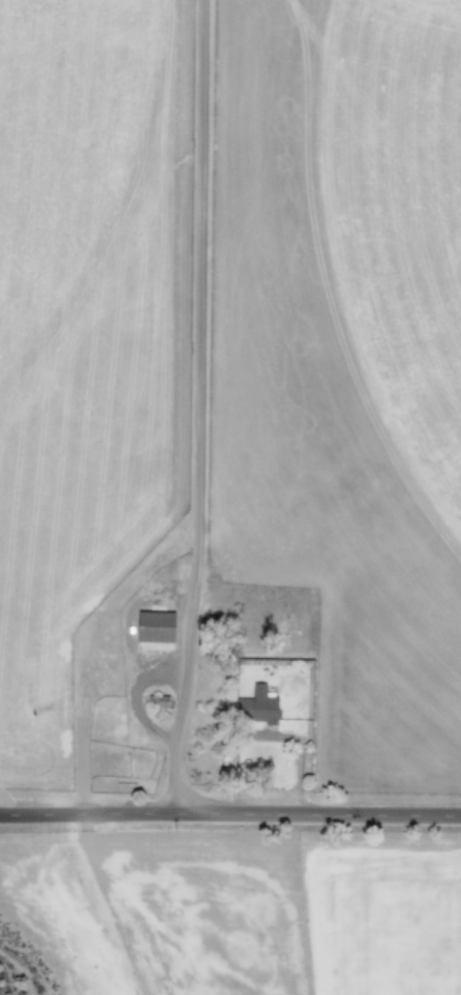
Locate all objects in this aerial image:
building: (153, 626)
building: (254, 705)
road: (146, 733)
road: (230, 815)

